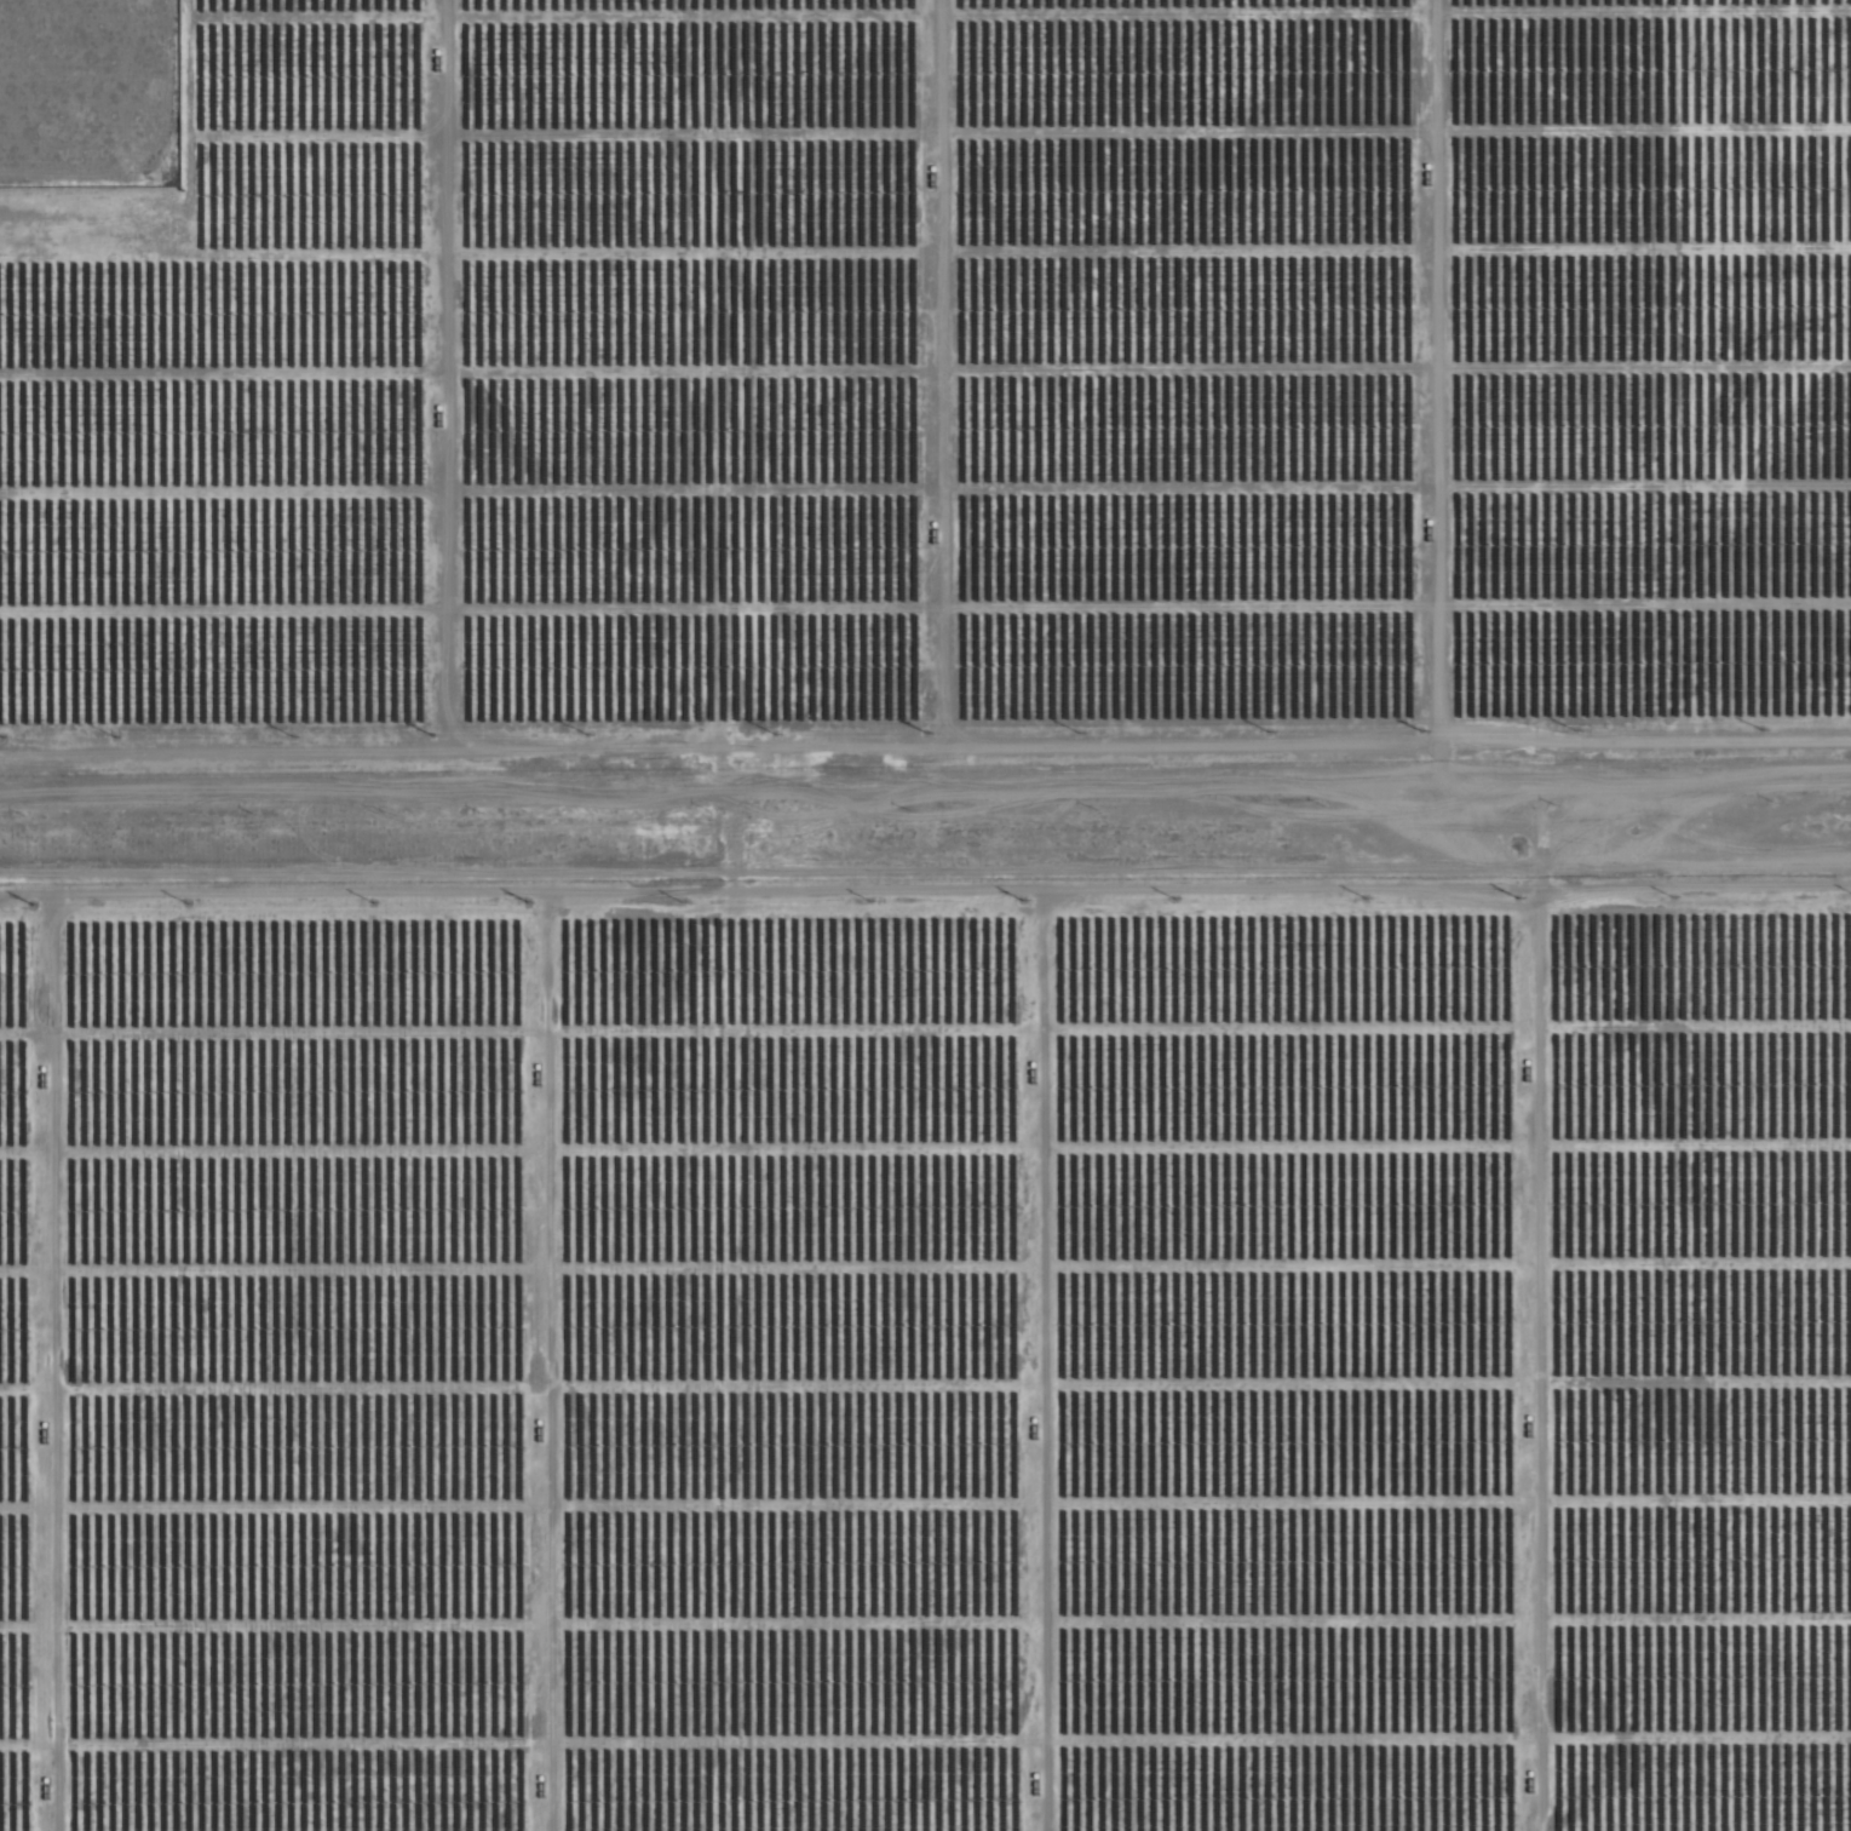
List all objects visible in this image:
road: (925, 810)

